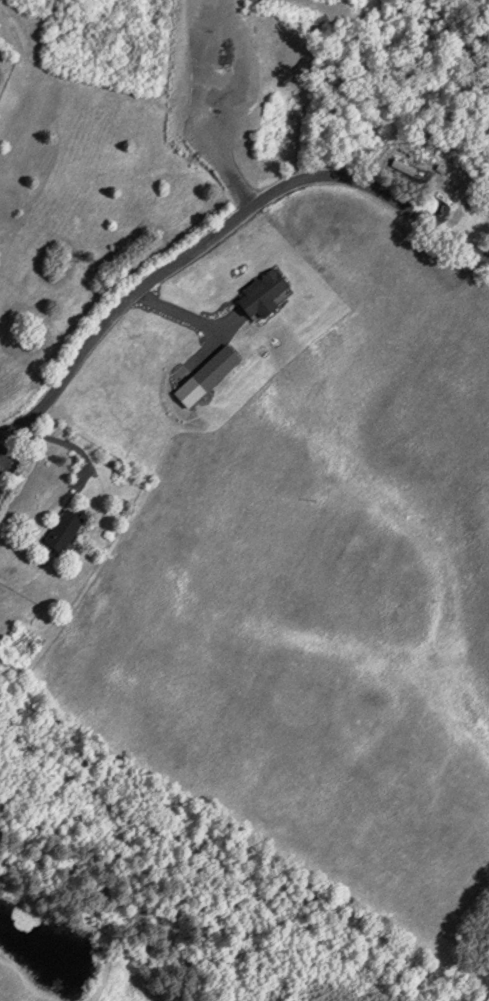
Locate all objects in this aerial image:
road: (221, 234)
building: (270, 294)
road: (175, 314)
building: (223, 366)
road: (68, 446)
road: (2, 472)
building: (70, 529)
crop: (326, 580)
crop: (15, 989)

